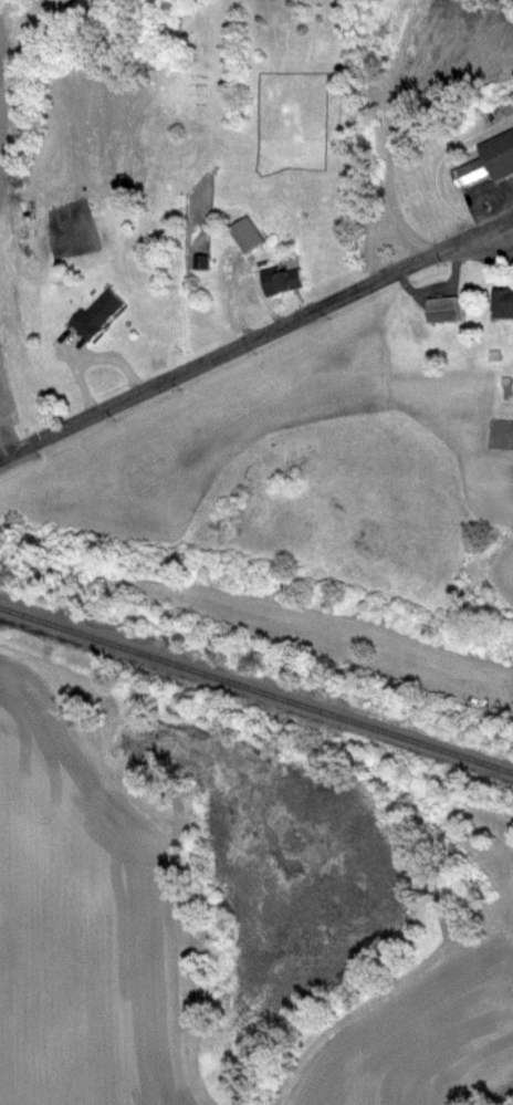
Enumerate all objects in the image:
park: (433, 91)
crop: (7, 102)
building: (512, 107)
building: (490, 164)
road: (509, 226)
building: (249, 234)
building: (284, 281)
building: (505, 304)
building: (448, 310)
building: (100, 315)
road: (255, 337)
crop: (4, 413)
railway: (256, 689)

